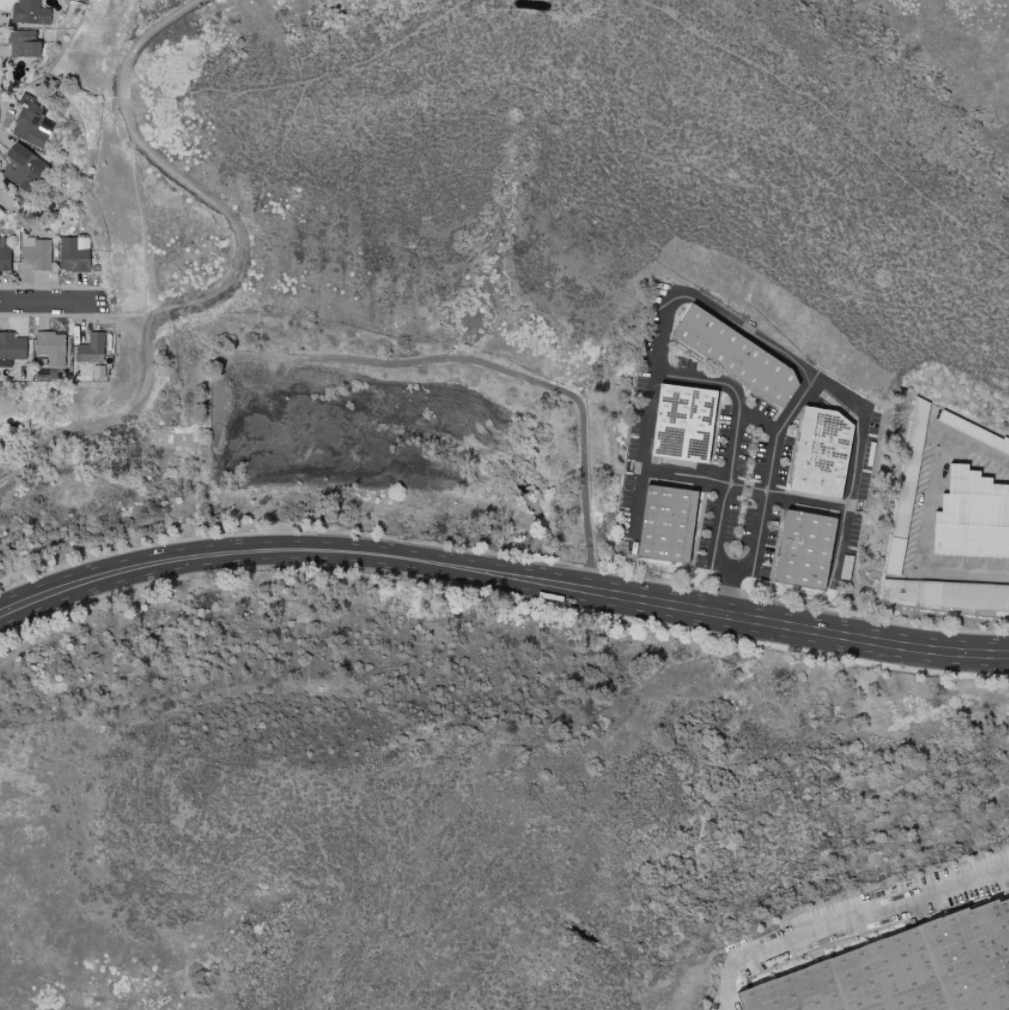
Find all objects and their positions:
building: (31, 12)
building: (24, 43)
building: (32, 122)
building: (24, 168)
road: (140, 228)
building: (4, 253)
building: (38, 255)
building: (74, 255)
road: (234, 265)
road: (662, 302)
road: (56, 306)
road: (131, 308)
building: (52, 347)
building: (11, 348)
building: (92, 348)
building: (736, 356)
road: (708, 382)
building: (684, 424)
road: (773, 429)
building: (974, 433)
building: (822, 453)
road: (855, 476)
building: (907, 488)
road: (639, 500)
building: (972, 517)
building: (667, 525)
road: (843, 548)
building: (805, 550)
road: (502, 574)
building: (949, 595)
road: (384, 715)
road: (849, 925)
building: (906, 970)

